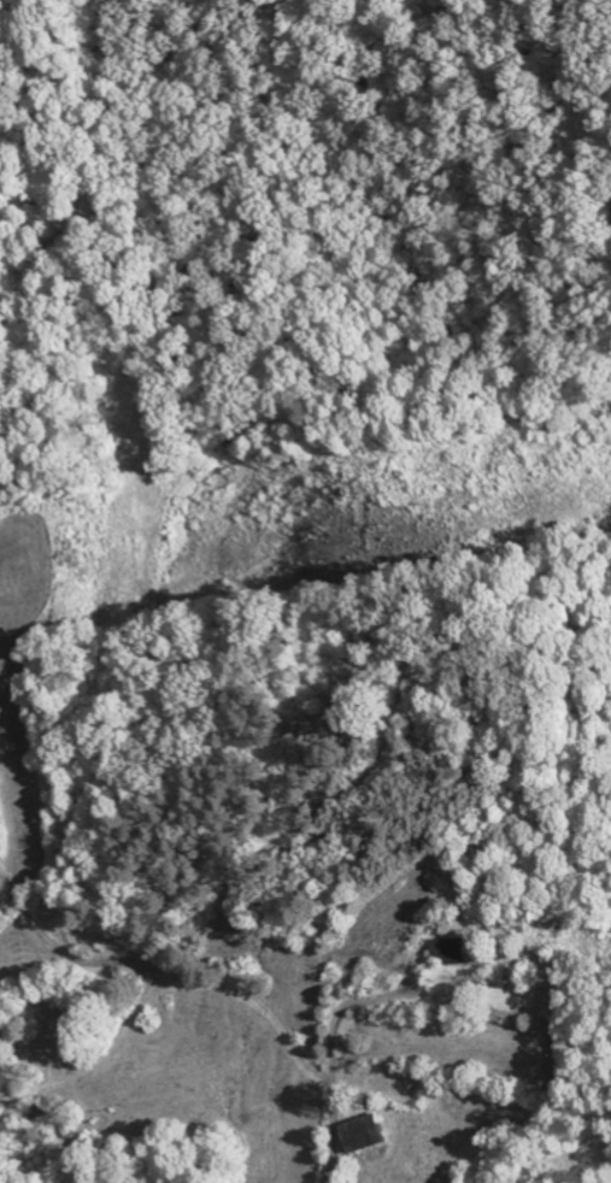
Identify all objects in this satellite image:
power tower: (369, 484)
power tower: (399, 524)
building: (463, 952)
building: (372, 1134)

